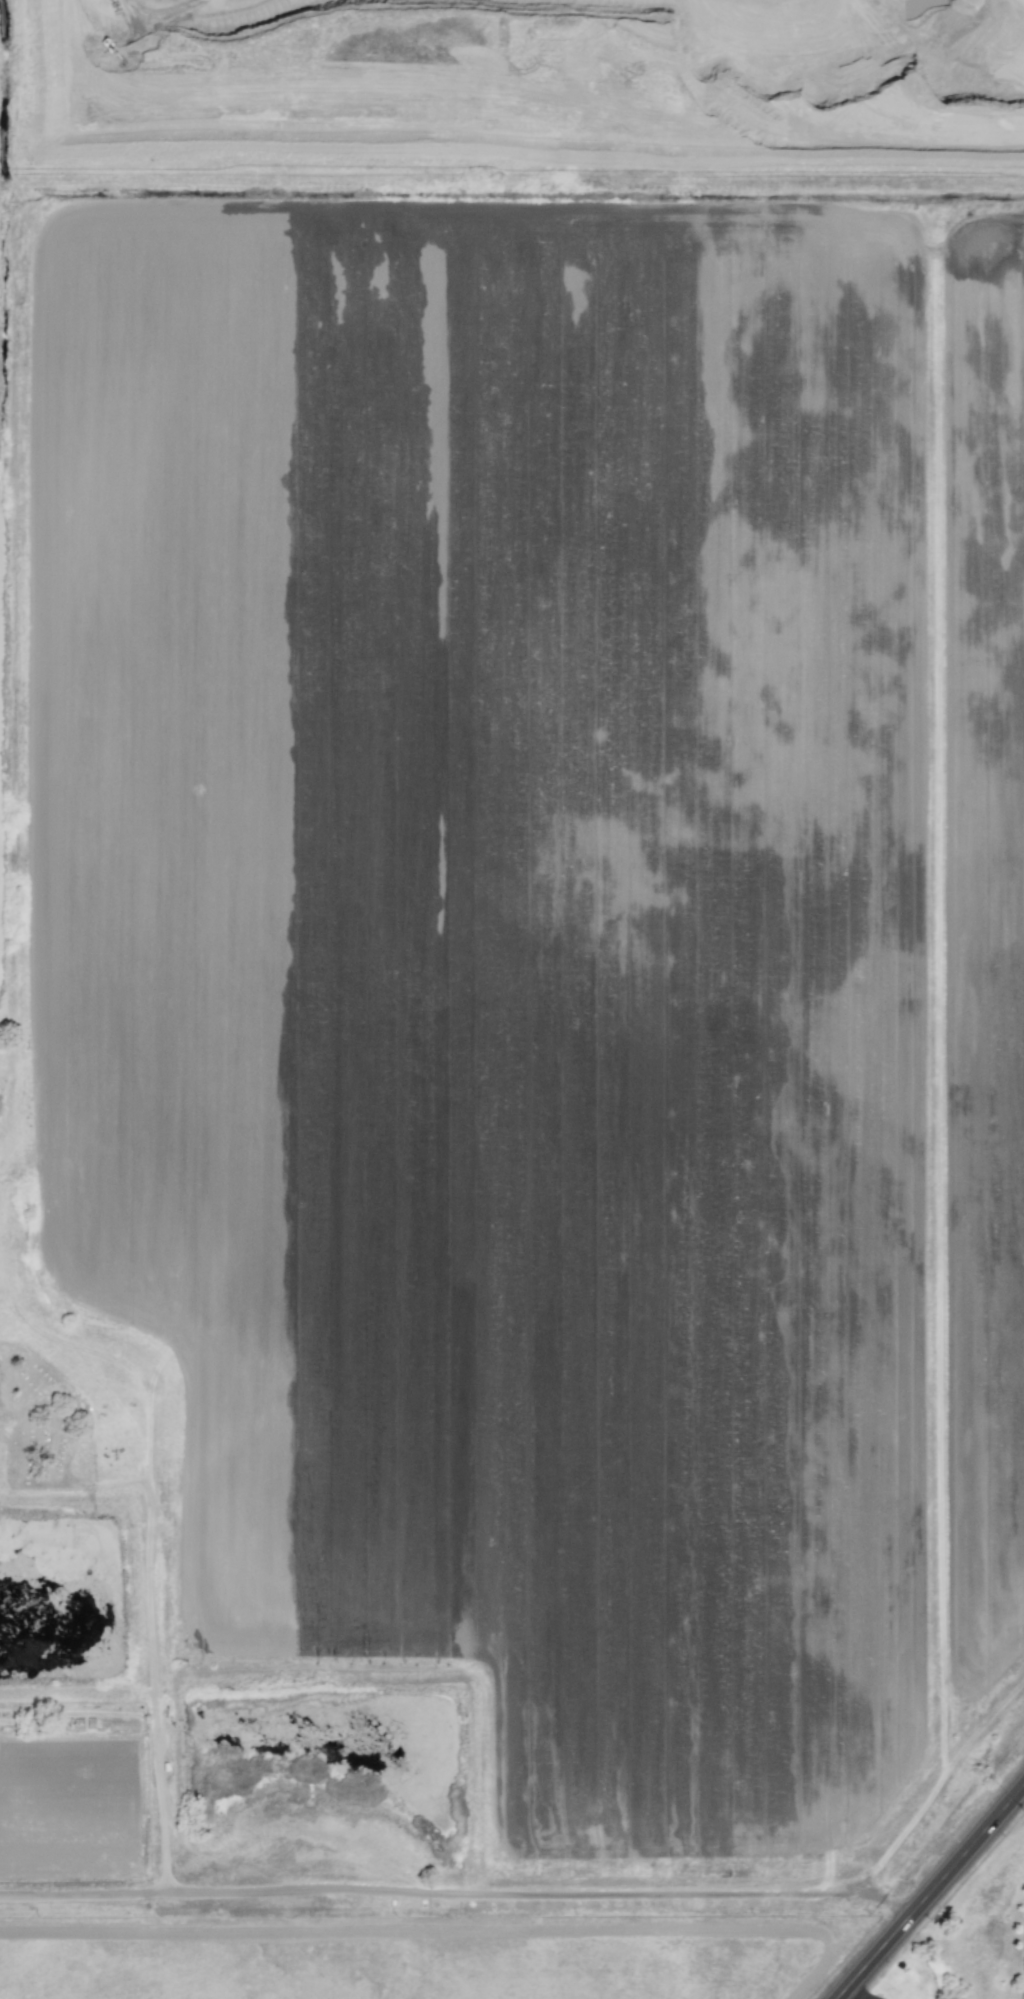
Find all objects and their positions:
road: (930, 1886)
road: (847, 1995)

